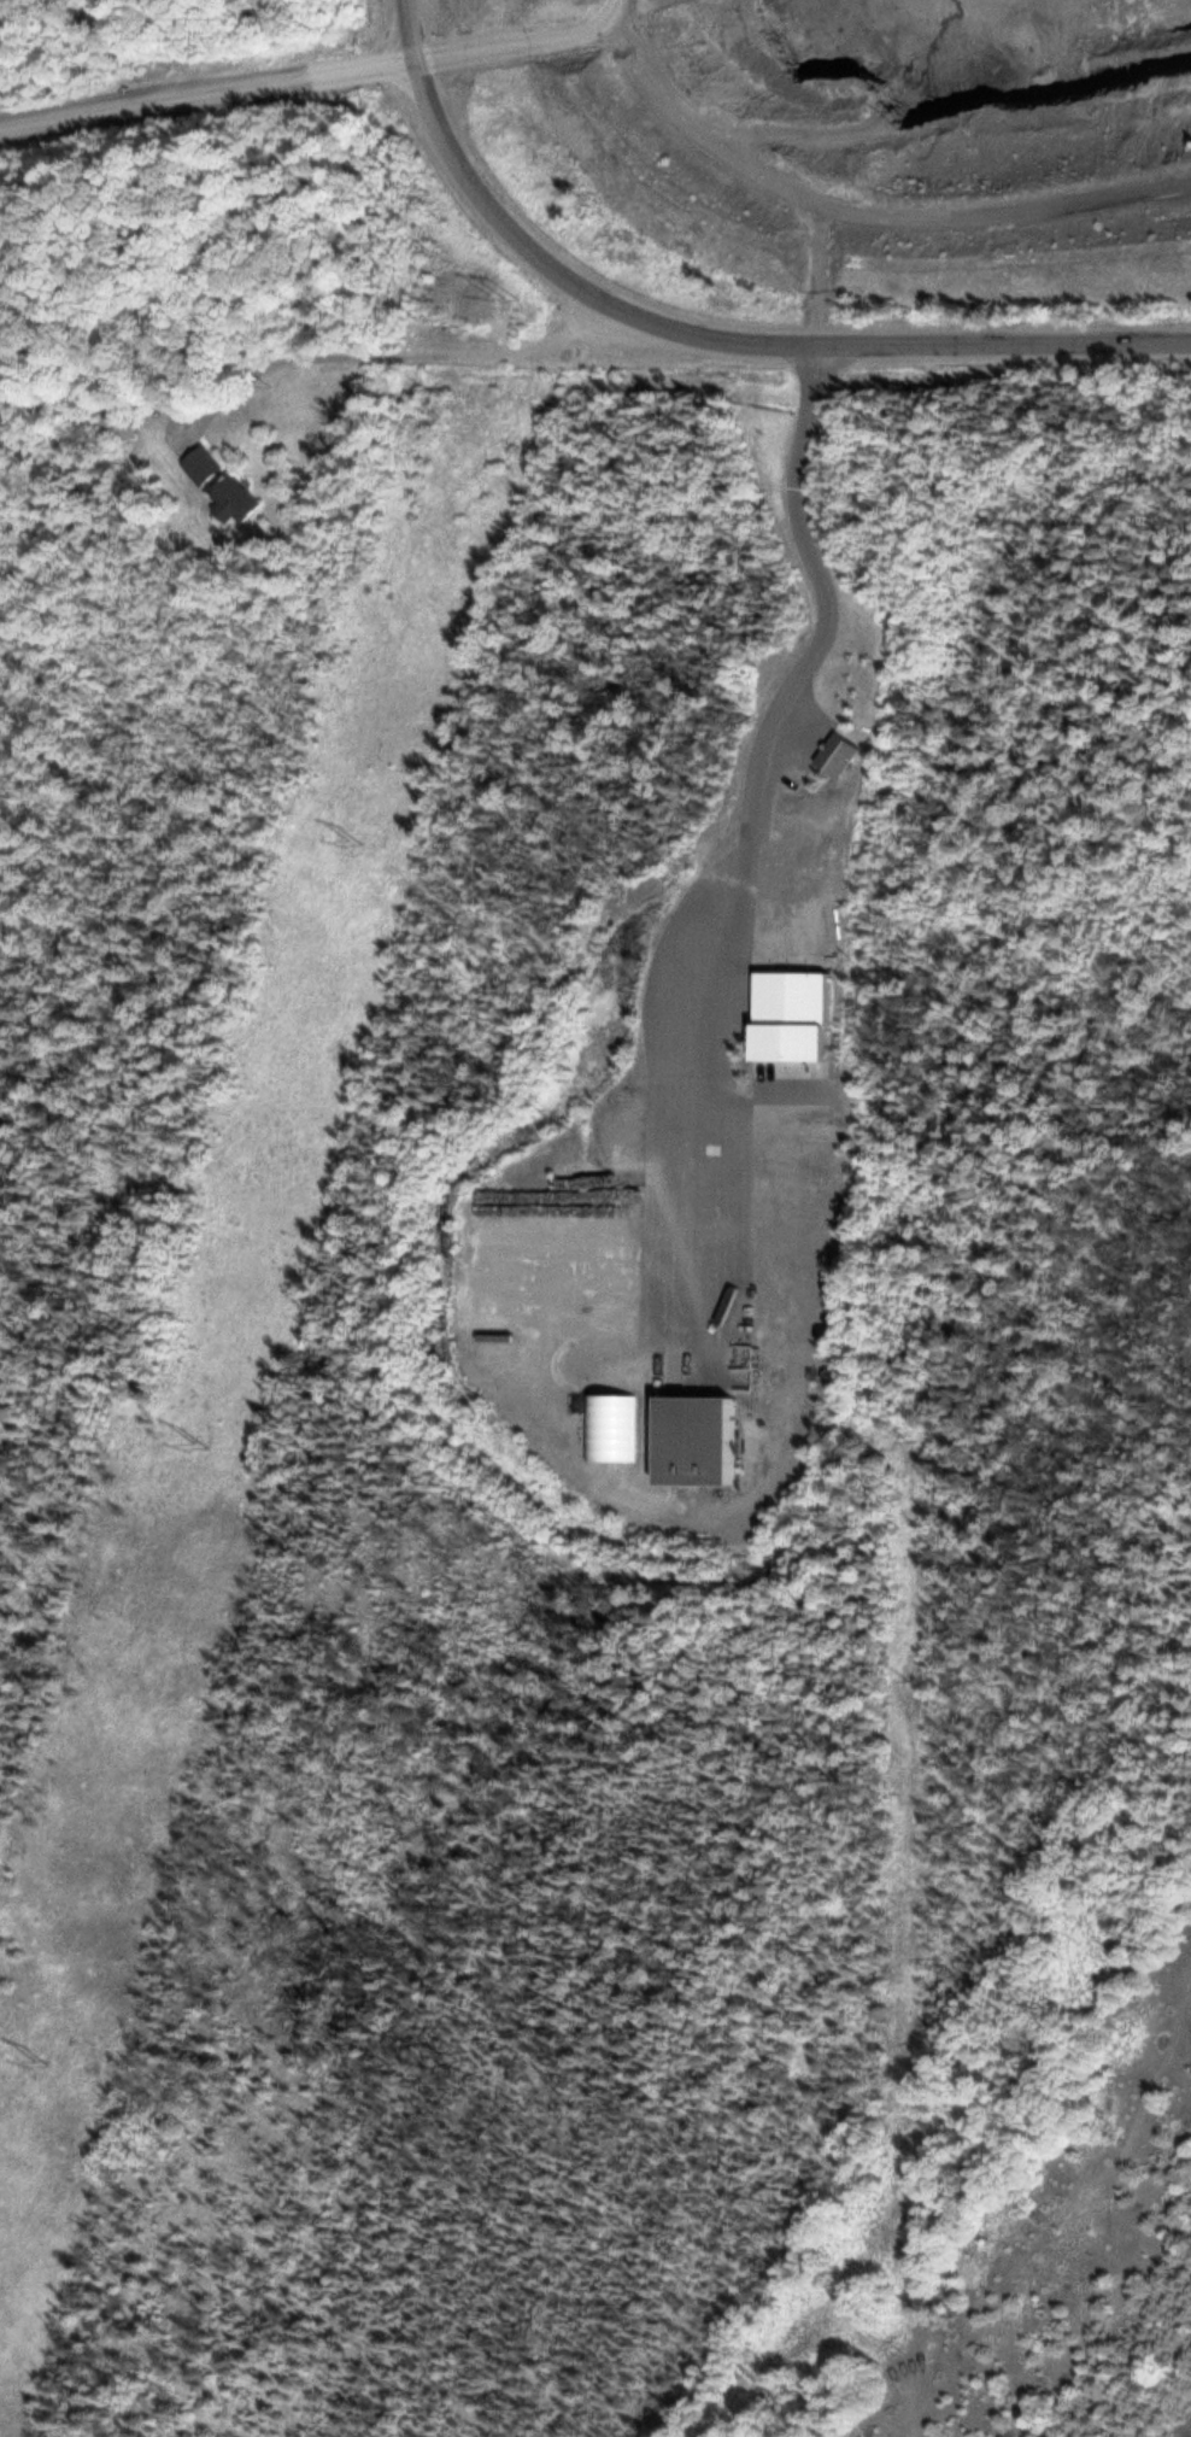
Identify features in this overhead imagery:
quarry: (923, 95)
road: (702, 340)
building: (123, 423)
building: (204, 468)
building: (237, 502)
building: (844, 755)
building: (799, 1025)
building: (706, 1442)

